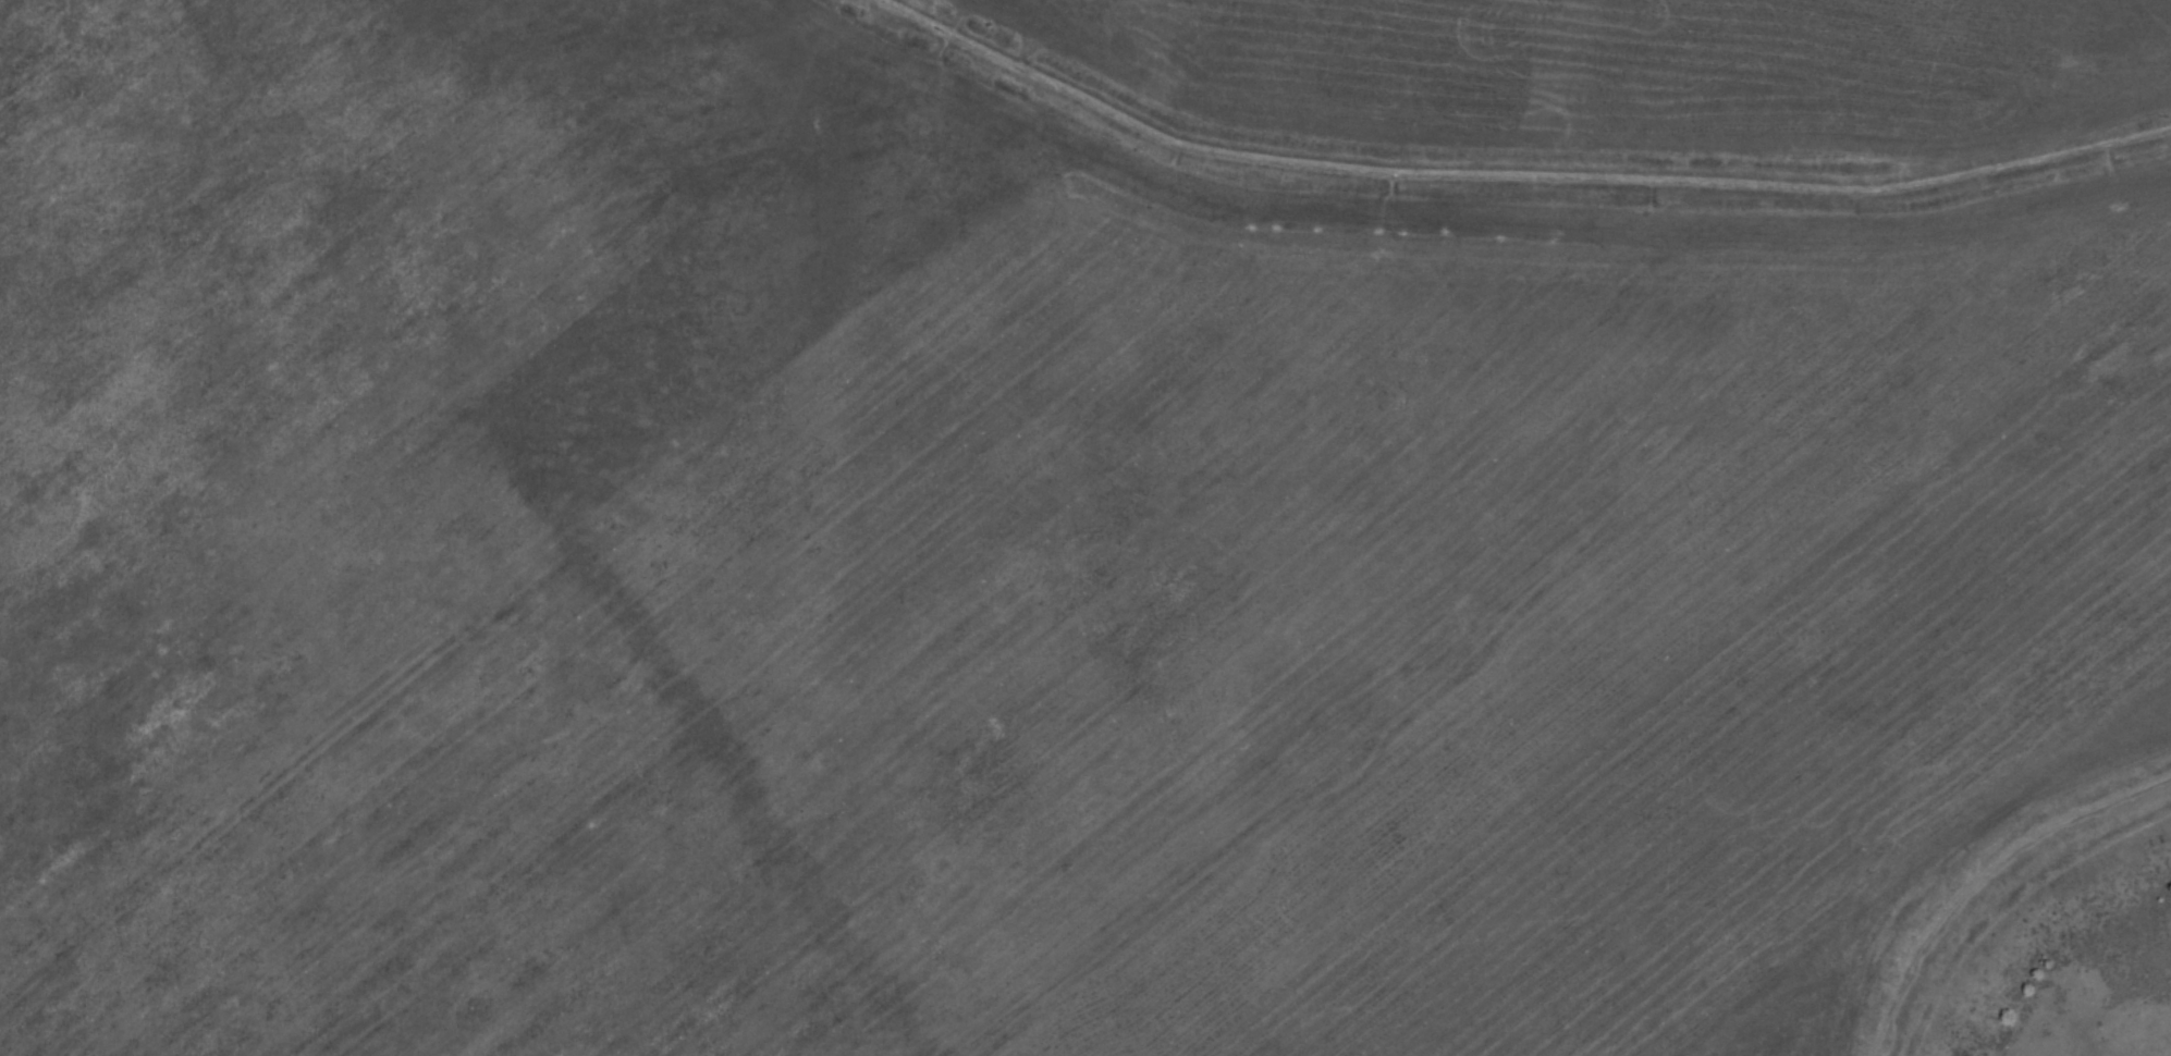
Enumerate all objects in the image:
crop: (1635, 82)
crop: (631, 193)
crop: (1424, 587)
crop: (323, 638)
crop: (1811, 993)

